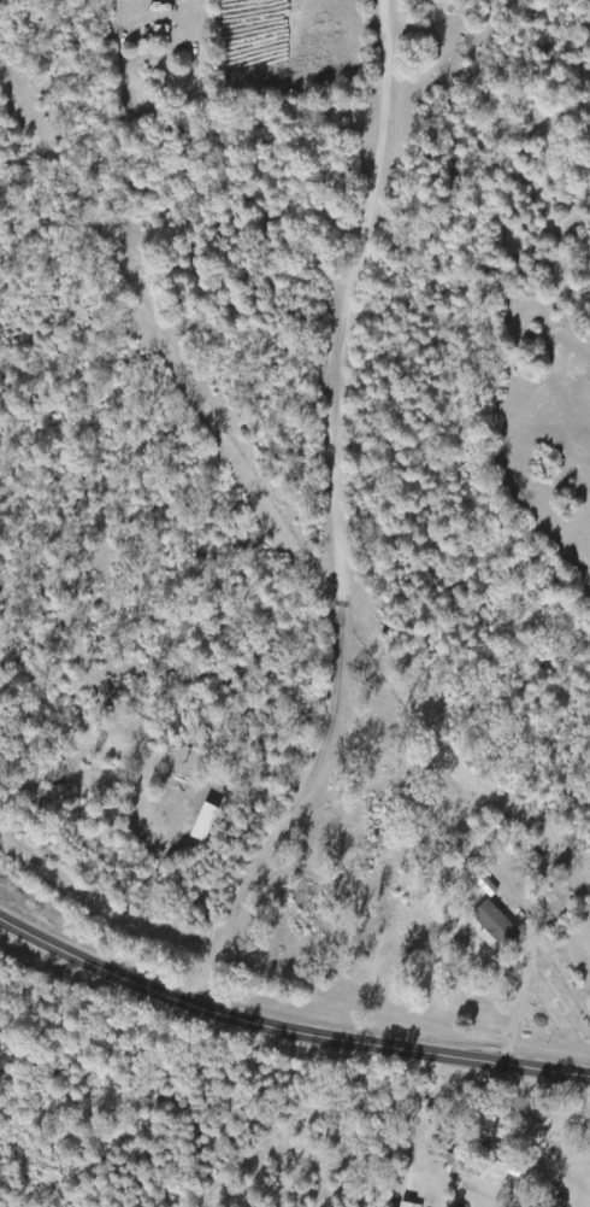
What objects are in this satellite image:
road: (354, 525)
building: (486, 884)
building: (498, 927)
road: (285, 1030)
building: (503, 1164)

